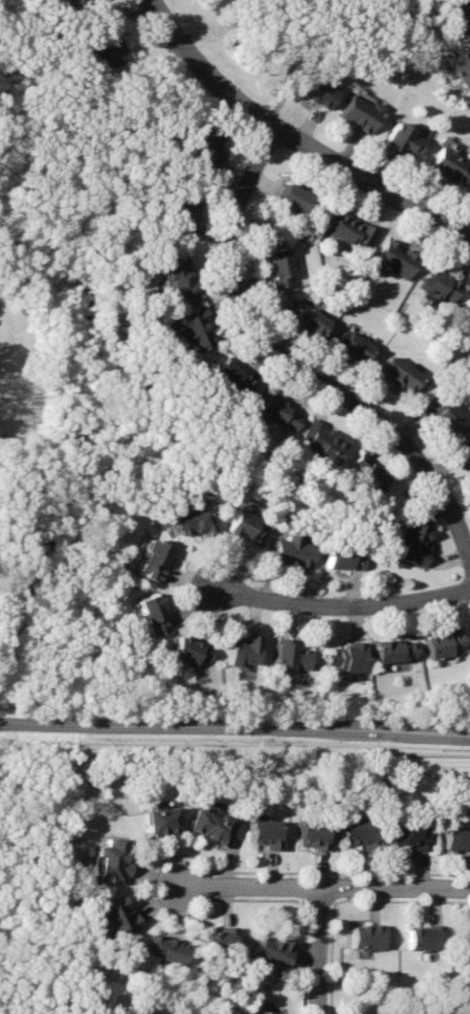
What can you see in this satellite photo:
building: (72, 0)
building: (79, 1)
building: (461, 17)
building: (104, 42)
building: (461, 66)
building: (314, 90)
building: (360, 114)
road: (295, 137)
building: (403, 140)
building: (205, 148)
building: (450, 165)
building: (295, 198)
building: (183, 218)
building: (353, 230)
building: (396, 259)
building: (281, 265)
building: (180, 276)
building: (442, 285)
building: (468, 306)
building: (311, 318)
building: (194, 330)
building: (355, 347)
road: (291, 366)
building: (401, 372)
building: (230, 377)
building: (278, 413)
building: (441, 413)
building: (322, 441)
building: (464, 450)
building: (366, 473)
building: (189, 522)
building: (245, 526)
building: (412, 543)
building: (290, 551)
building: (342, 558)
building: (152, 559)
road: (344, 605)
building: (152, 615)
building: (444, 644)
building: (245, 648)
building: (191, 650)
building: (394, 652)
building: (294, 656)
building: (349, 658)
road: (234, 731)
building: (158, 820)
building: (212, 825)
building: (263, 834)
building: (411, 834)
building: (313, 835)
building: (361, 835)
building: (455, 837)
building: (111, 859)
park: (23, 874)
road: (322, 886)
building: (119, 916)
building: (368, 936)
building: (424, 939)
building: (465, 939)
building: (219, 944)
building: (166, 950)
road: (320, 950)
building: (274, 951)

